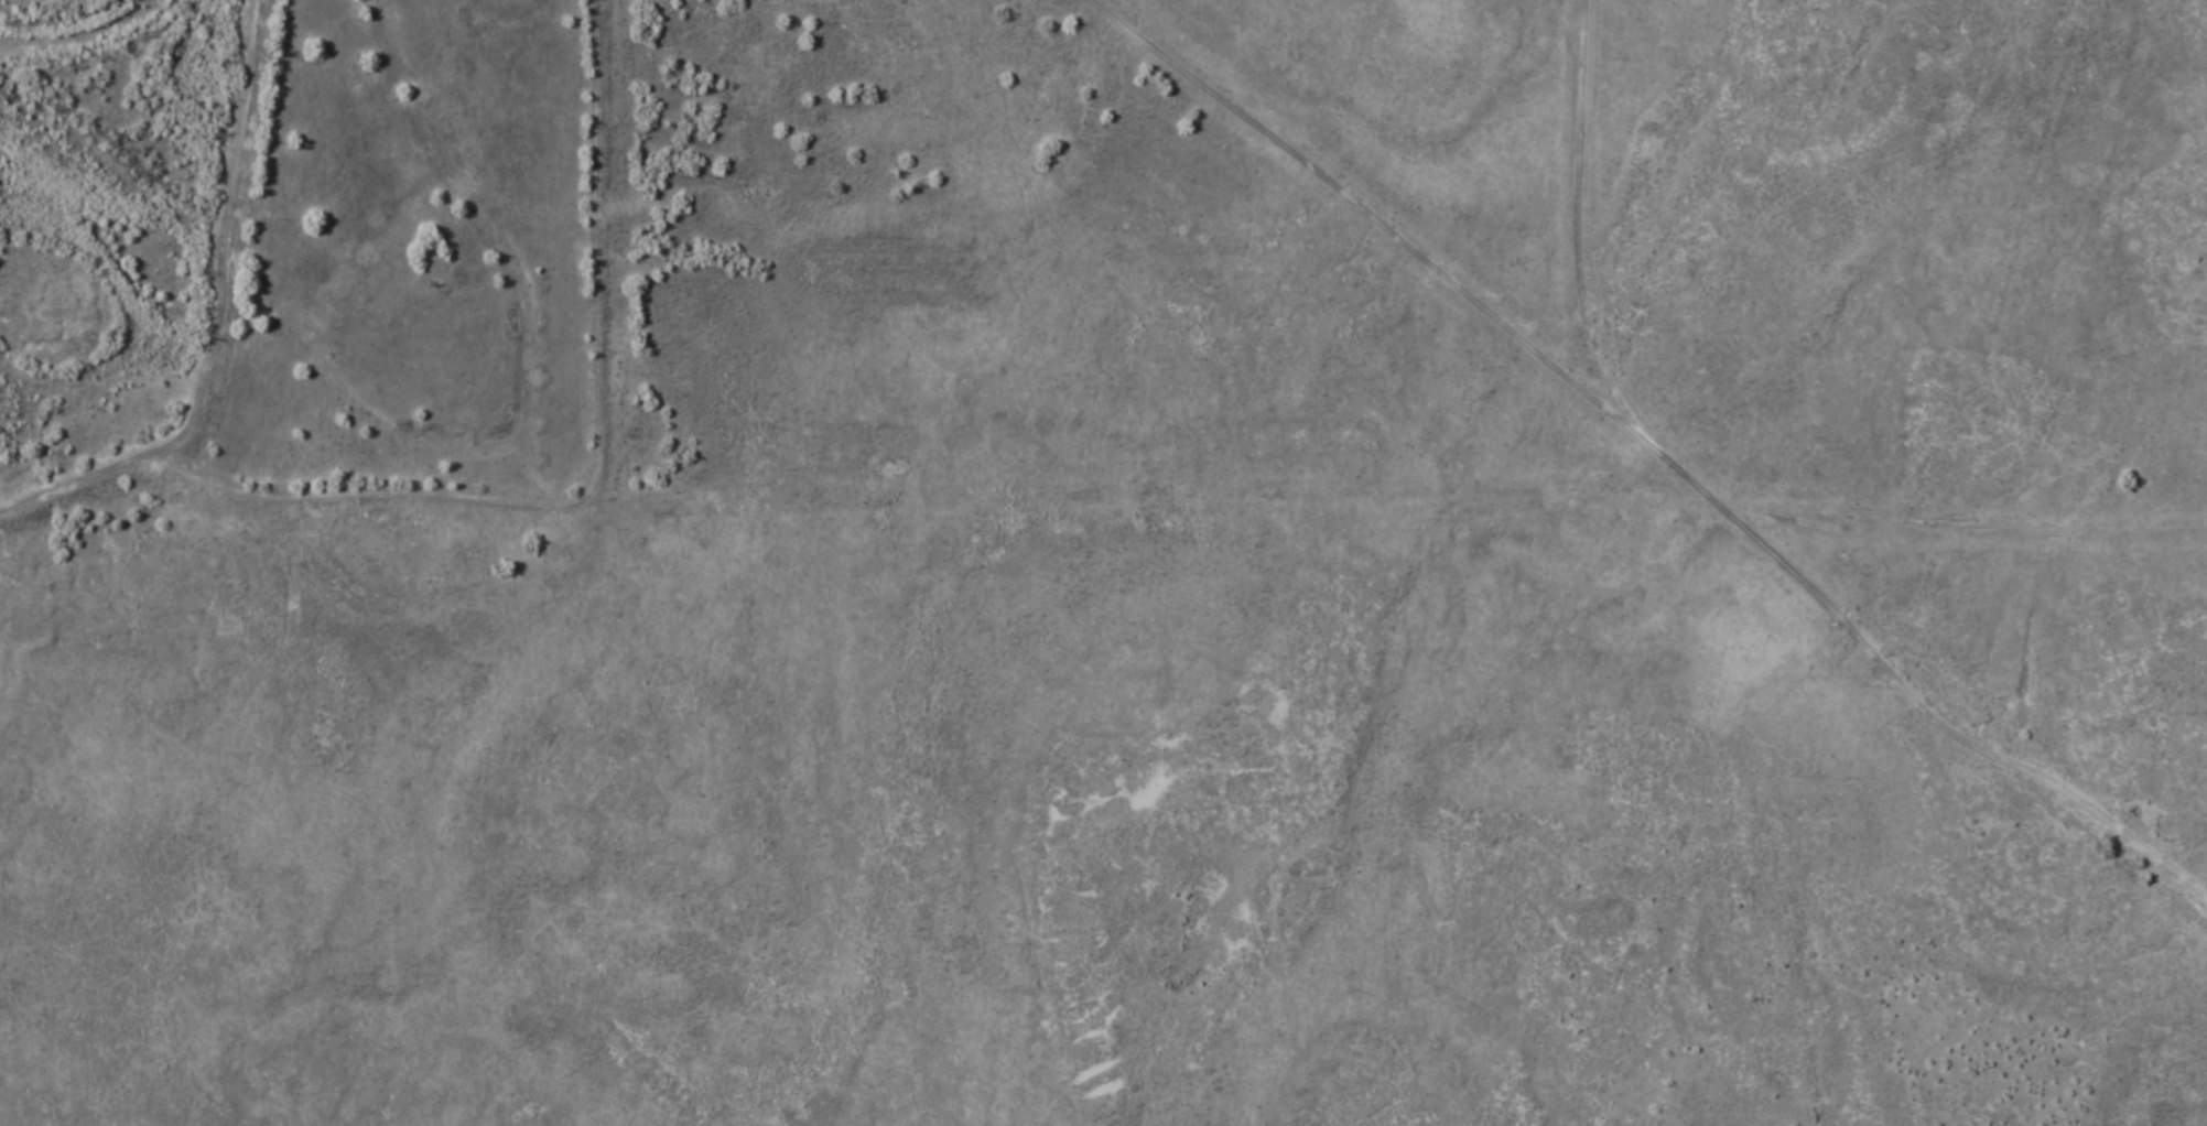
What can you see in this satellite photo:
road: (227, 348)

